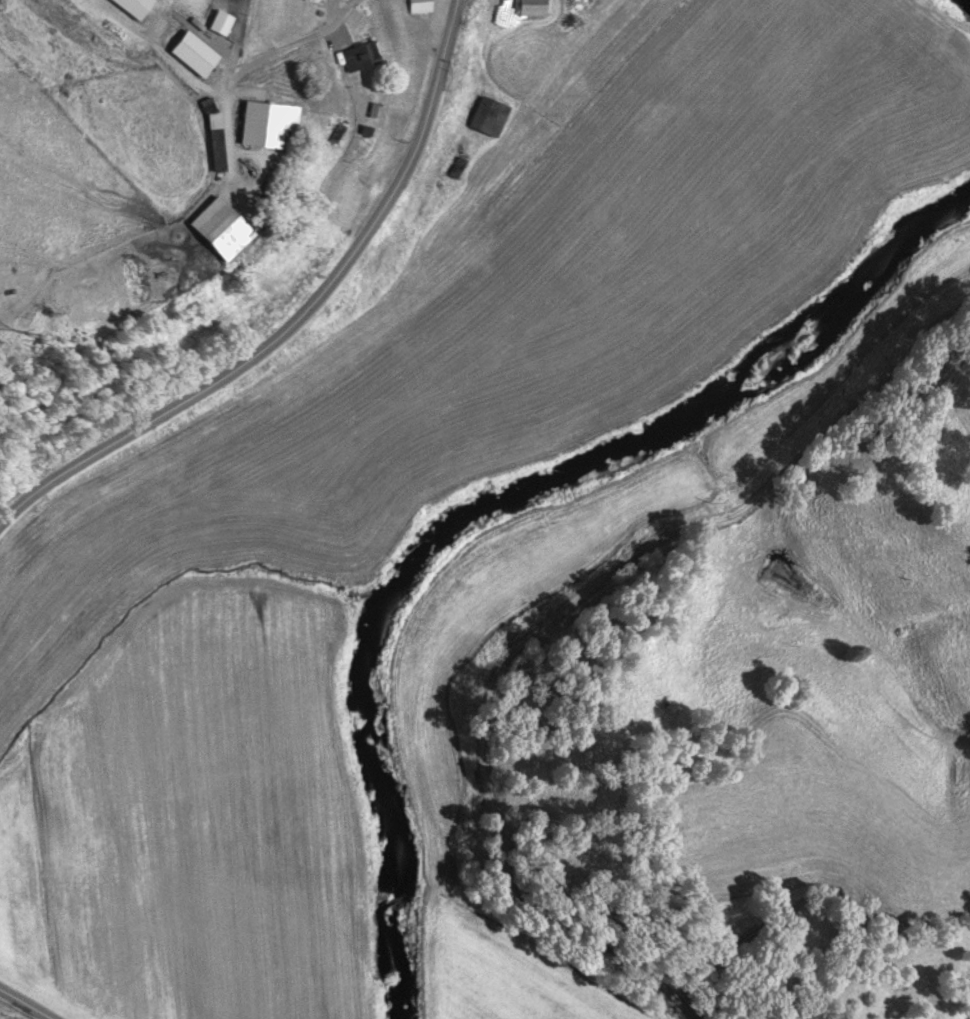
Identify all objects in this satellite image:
building: (419, 6)
building: (129, 7)
building: (358, 56)
building: (484, 116)
building: (210, 121)
building: (264, 125)
building: (212, 229)
road: (296, 318)
river: (493, 499)
road: (25, 1004)

